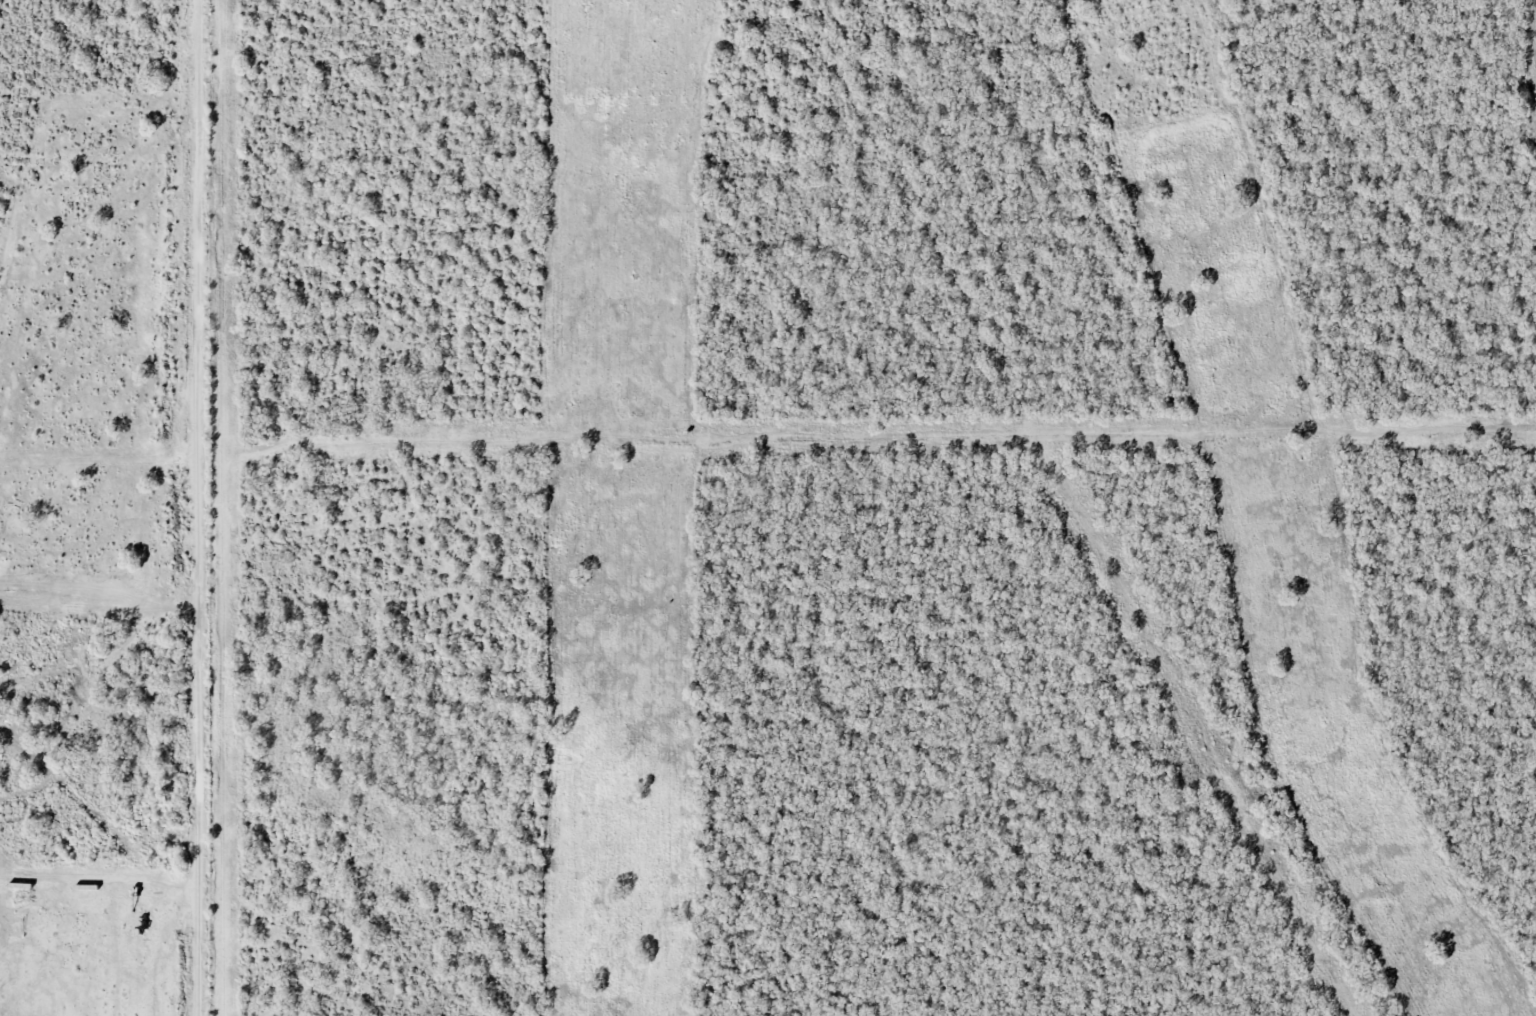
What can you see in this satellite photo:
road: (193, 508)

